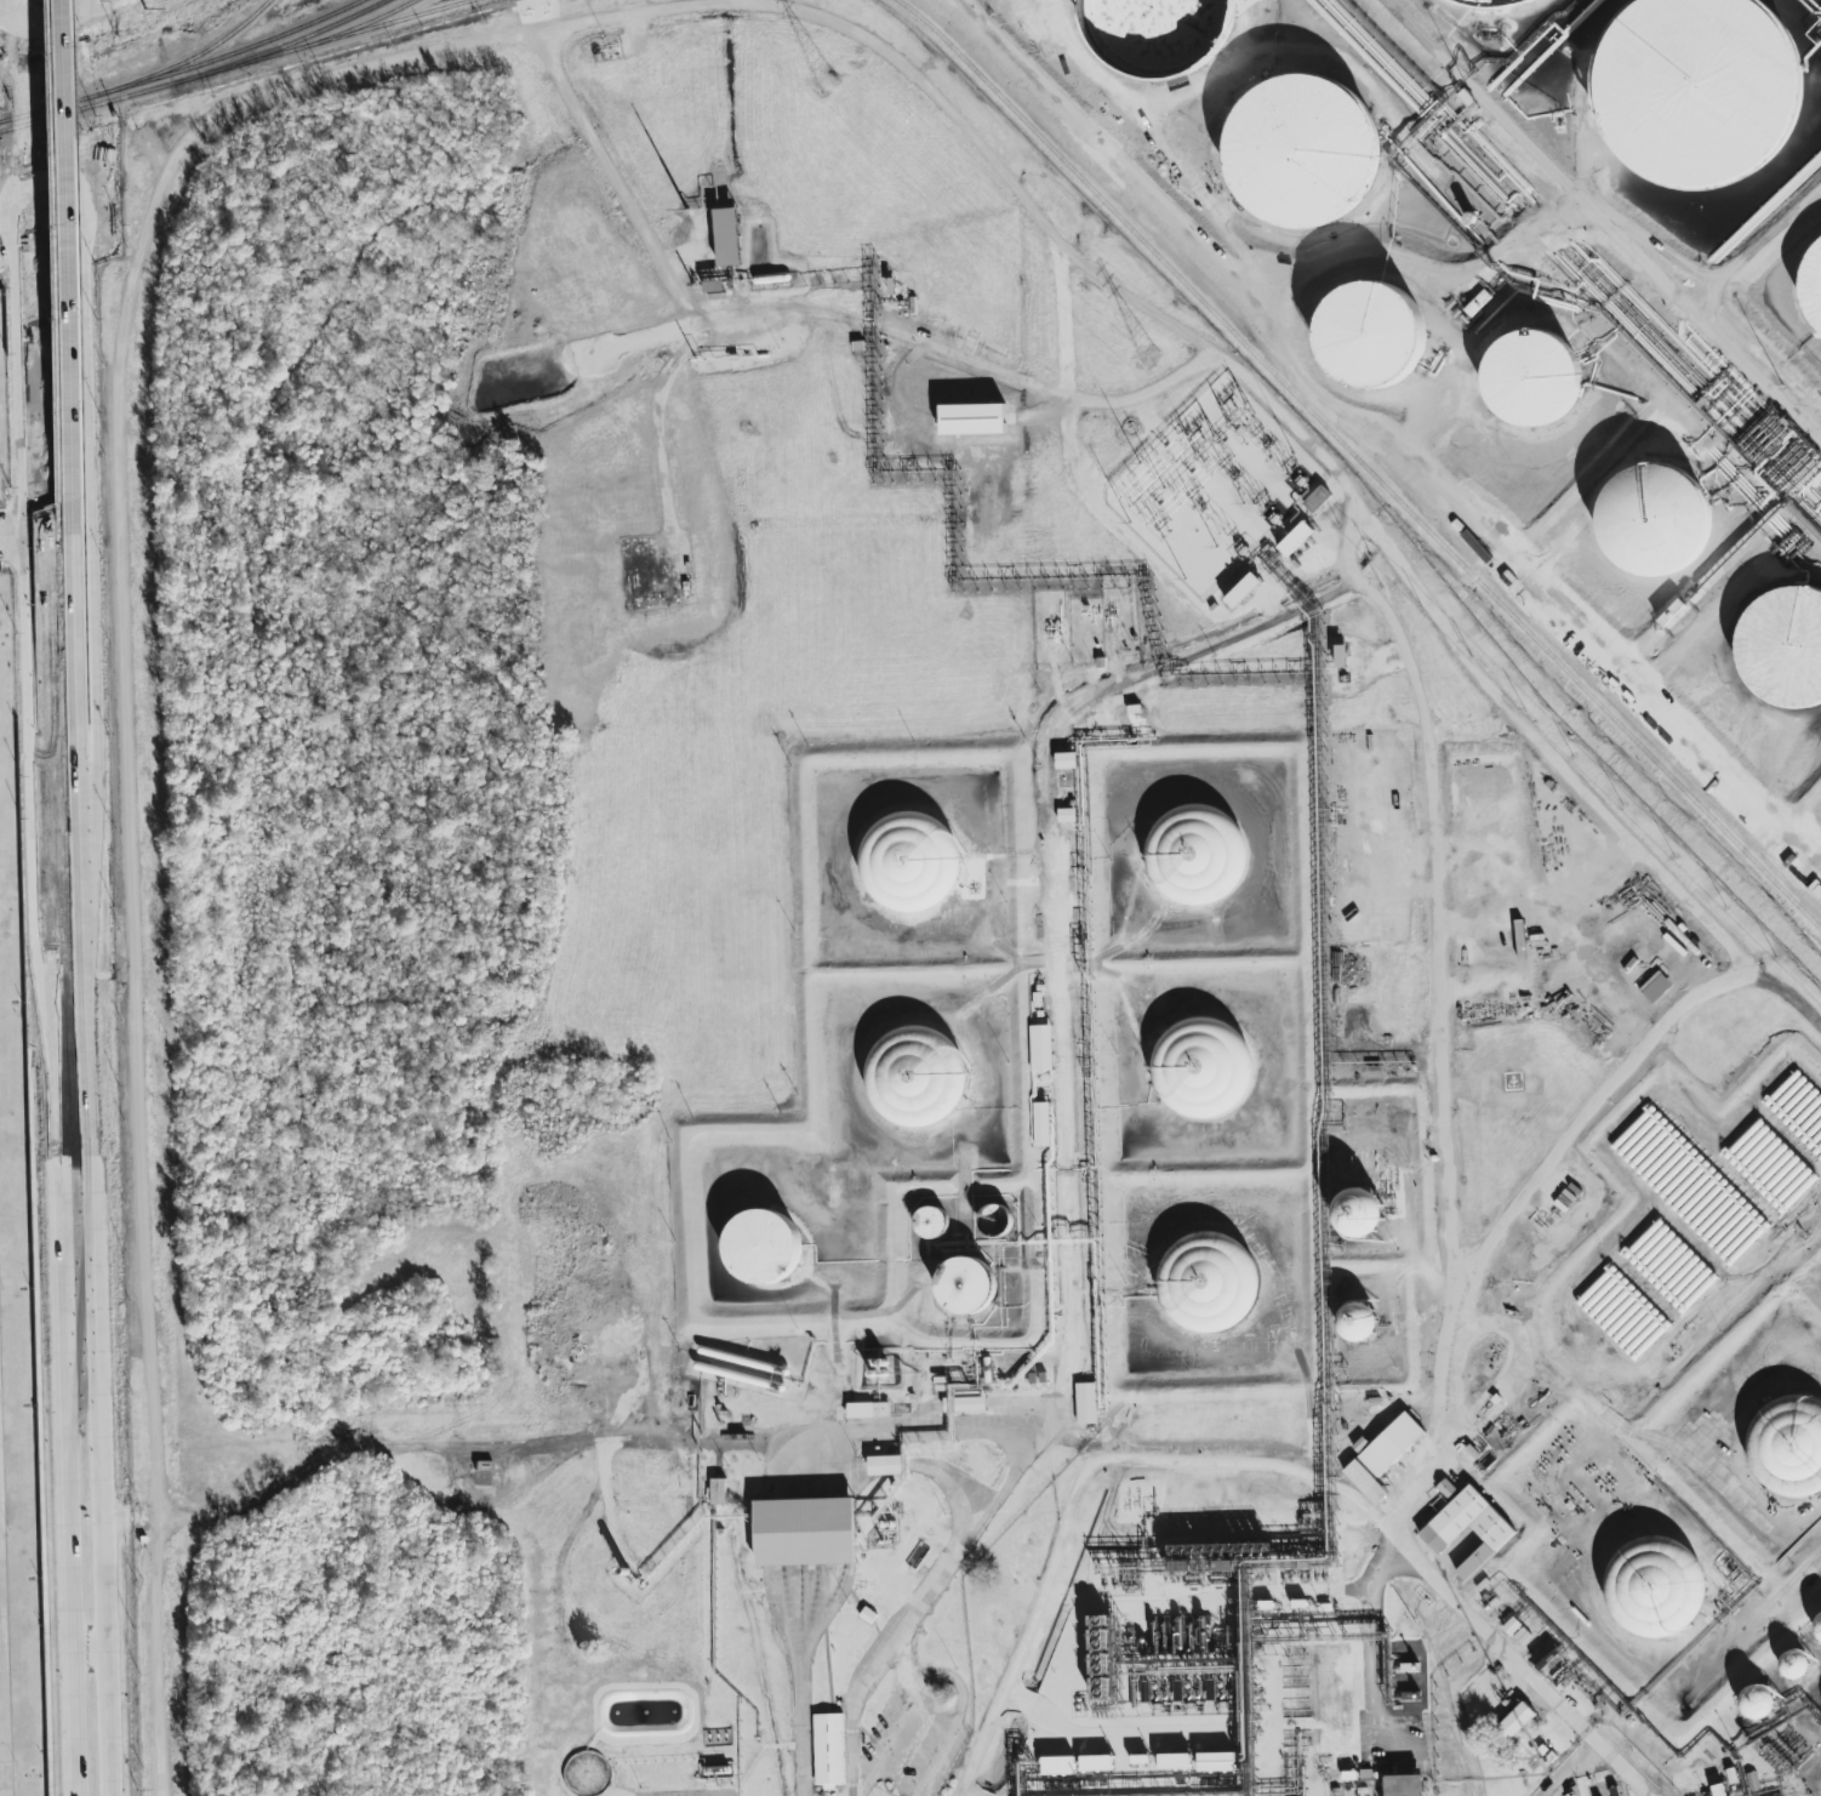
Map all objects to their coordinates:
building: (1500, 2)
storage tank: (1500, 2)
road: (93, 13)
power tower: (135, 17)
road: (573, 24)
railway: (358, 27)
building: (1164, 32)
storage tank: (1164, 32)
railway: (321, 40)
railway: (281, 45)
railway: (230, 53)
railway: (189, 58)
road: (13, 67)
power tower: (827, 85)
building: (1696, 91)
storage tank: (1696, 91)
railway: (86, 107)
railway: (48, 108)
building: (1300, 153)
storage tank: (1300, 153)
road: (15, 170)
road: (1604, 218)
building: (726, 236)
road: (1759, 251)
road: (63, 274)
building: (1813, 285)
storage tank: (1813, 285)
road: (803, 314)
road: (1061, 320)
building: (1371, 335)
storage tank: (1371, 335)
power tower: (1149, 355)
building: (1534, 376)
storage tank: (1534, 376)
railway: (1362, 462)
power substation: (1257, 466)
building: (1317, 500)
building: (1656, 514)
storage tank: (1656, 514)
building: (1295, 538)
road: (35, 551)
road: (72, 588)
building: (1243, 591)
building: (1780, 649)
storage tank: (1780, 649)
building: (1340, 656)
road: (1548, 753)
road: (1151, 754)
building: (1066, 760)
building: (1066, 815)
storage tank: (1197, 854)
building: (1195, 855)
storage tank: (904, 866)
road: (1591, 884)
road: (803, 886)
road: (50, 897)
road: (1529, 899)
building: (1359, 926)
building: (1655, 987)
building: (1040, 1048)
building: (1201, 1066)
storage tank: (1204, 1067)
building: (907, 1074)
storage tank: (914, 1076)
building: (1041, 1123)
road: (1540, 1192)
road: (92, 1210)
building: (1358, 1214)
building: (991, 1215)
building: (930, 1221)
building: (761, 1244)
building: (965, 1283)
storage tank: (1210, 1284)
building: (1355, 1319)
building: (1085, 1403)
building: (879, 1408)
building: (1791, 1436)
road: (581, 1439)
building: (1391, 1443)
storage tank: (1787, 1443)
road: (1643, 1449)
building: (885, 1464)
building: (1364, 1481)
building: (1445, 1488)
building: (717, 1490)
road: (121, 1517)
building: (804, 1530)
building: (1440, 1532)
road: (1382, 1534)
road: (946, 1569)
building: (1655, 1586)
storage tank: (1655, 1586)
road: (1038, 1612)
building: (1511, 1625)
building: (1817, 1625)
road: (1372, 1644)
road: (154, 1657)
building: (1757, 1700)
road: (961, 1704)
building: (1517, 1720)
road: (800, 1721)
building: (828, 1750)
road: (0, 1754)
road: (1, 1754)
building: (1096, 1762)
building: (1058, 1764)
building: (1752, 1780)
building: (1404, 1785)
building: (1718, 1789)
building: (1769, 1794)

